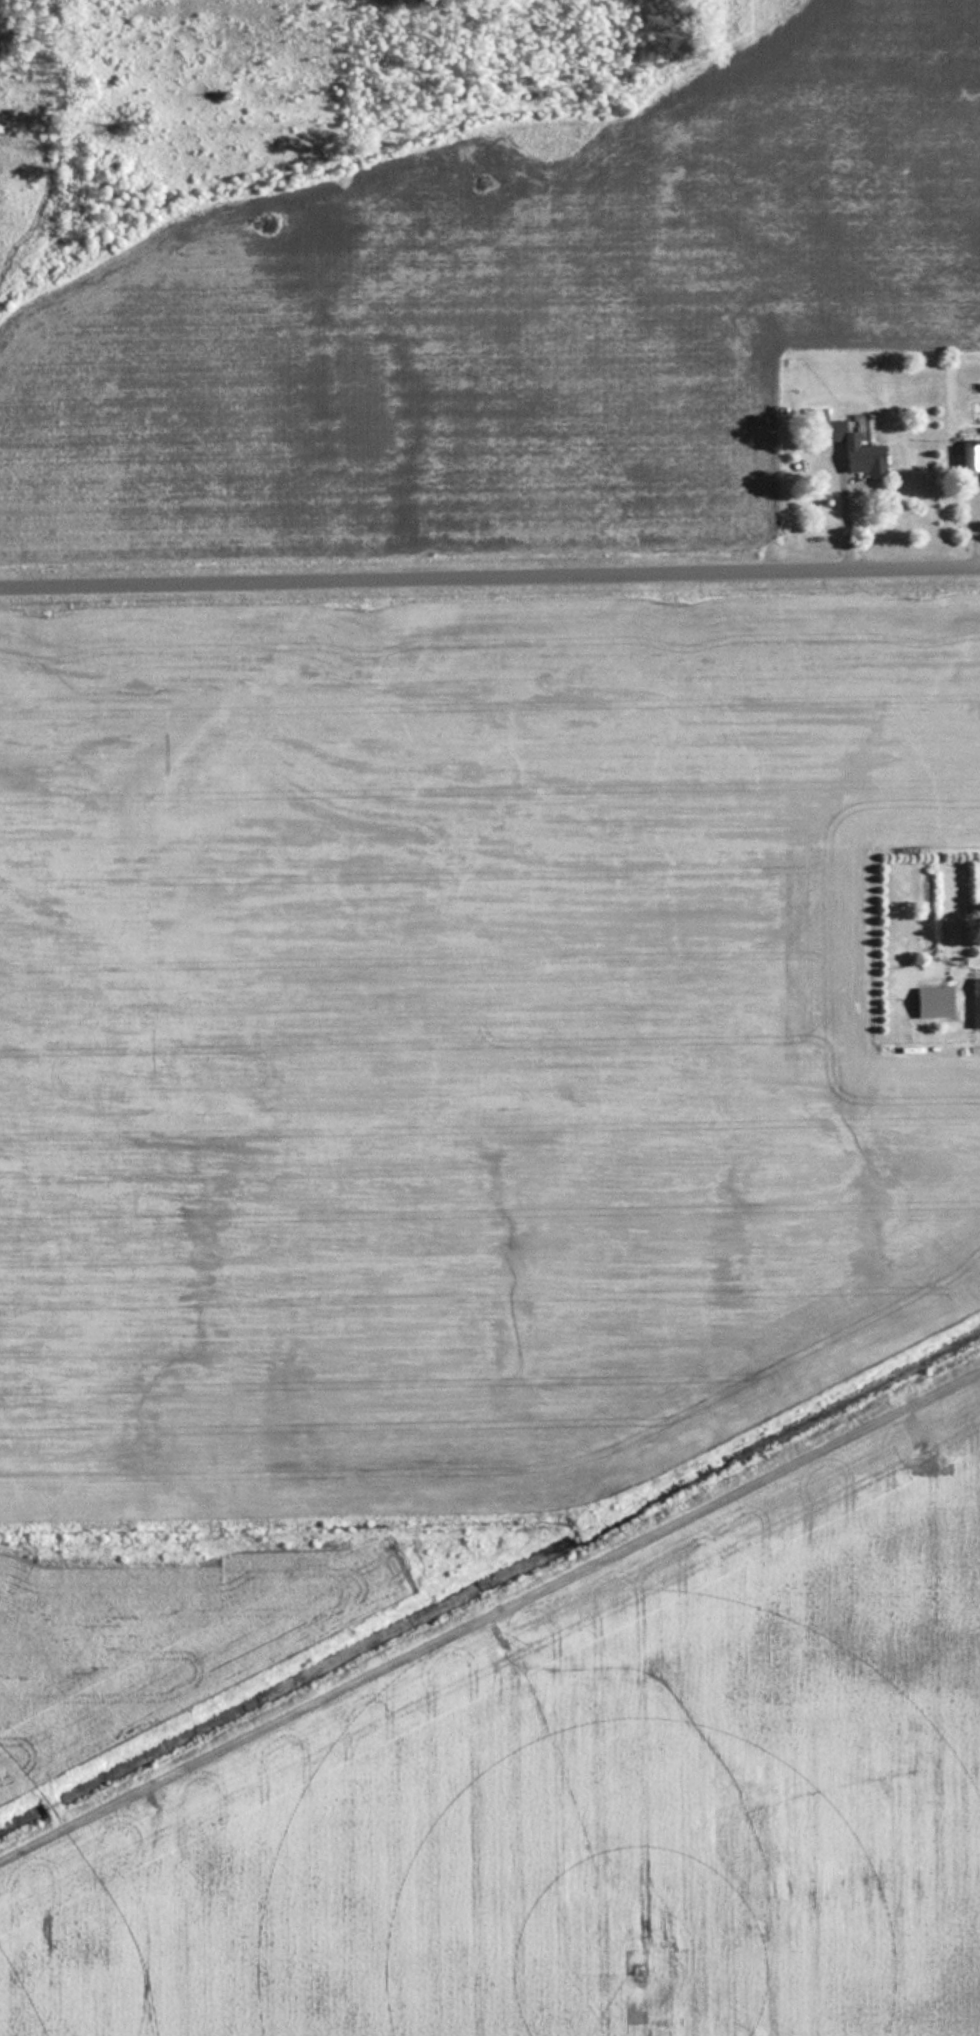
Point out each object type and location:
building: (843, 444)
road: (843, 520)
road: (490, 581)
building: (973, 1002)

